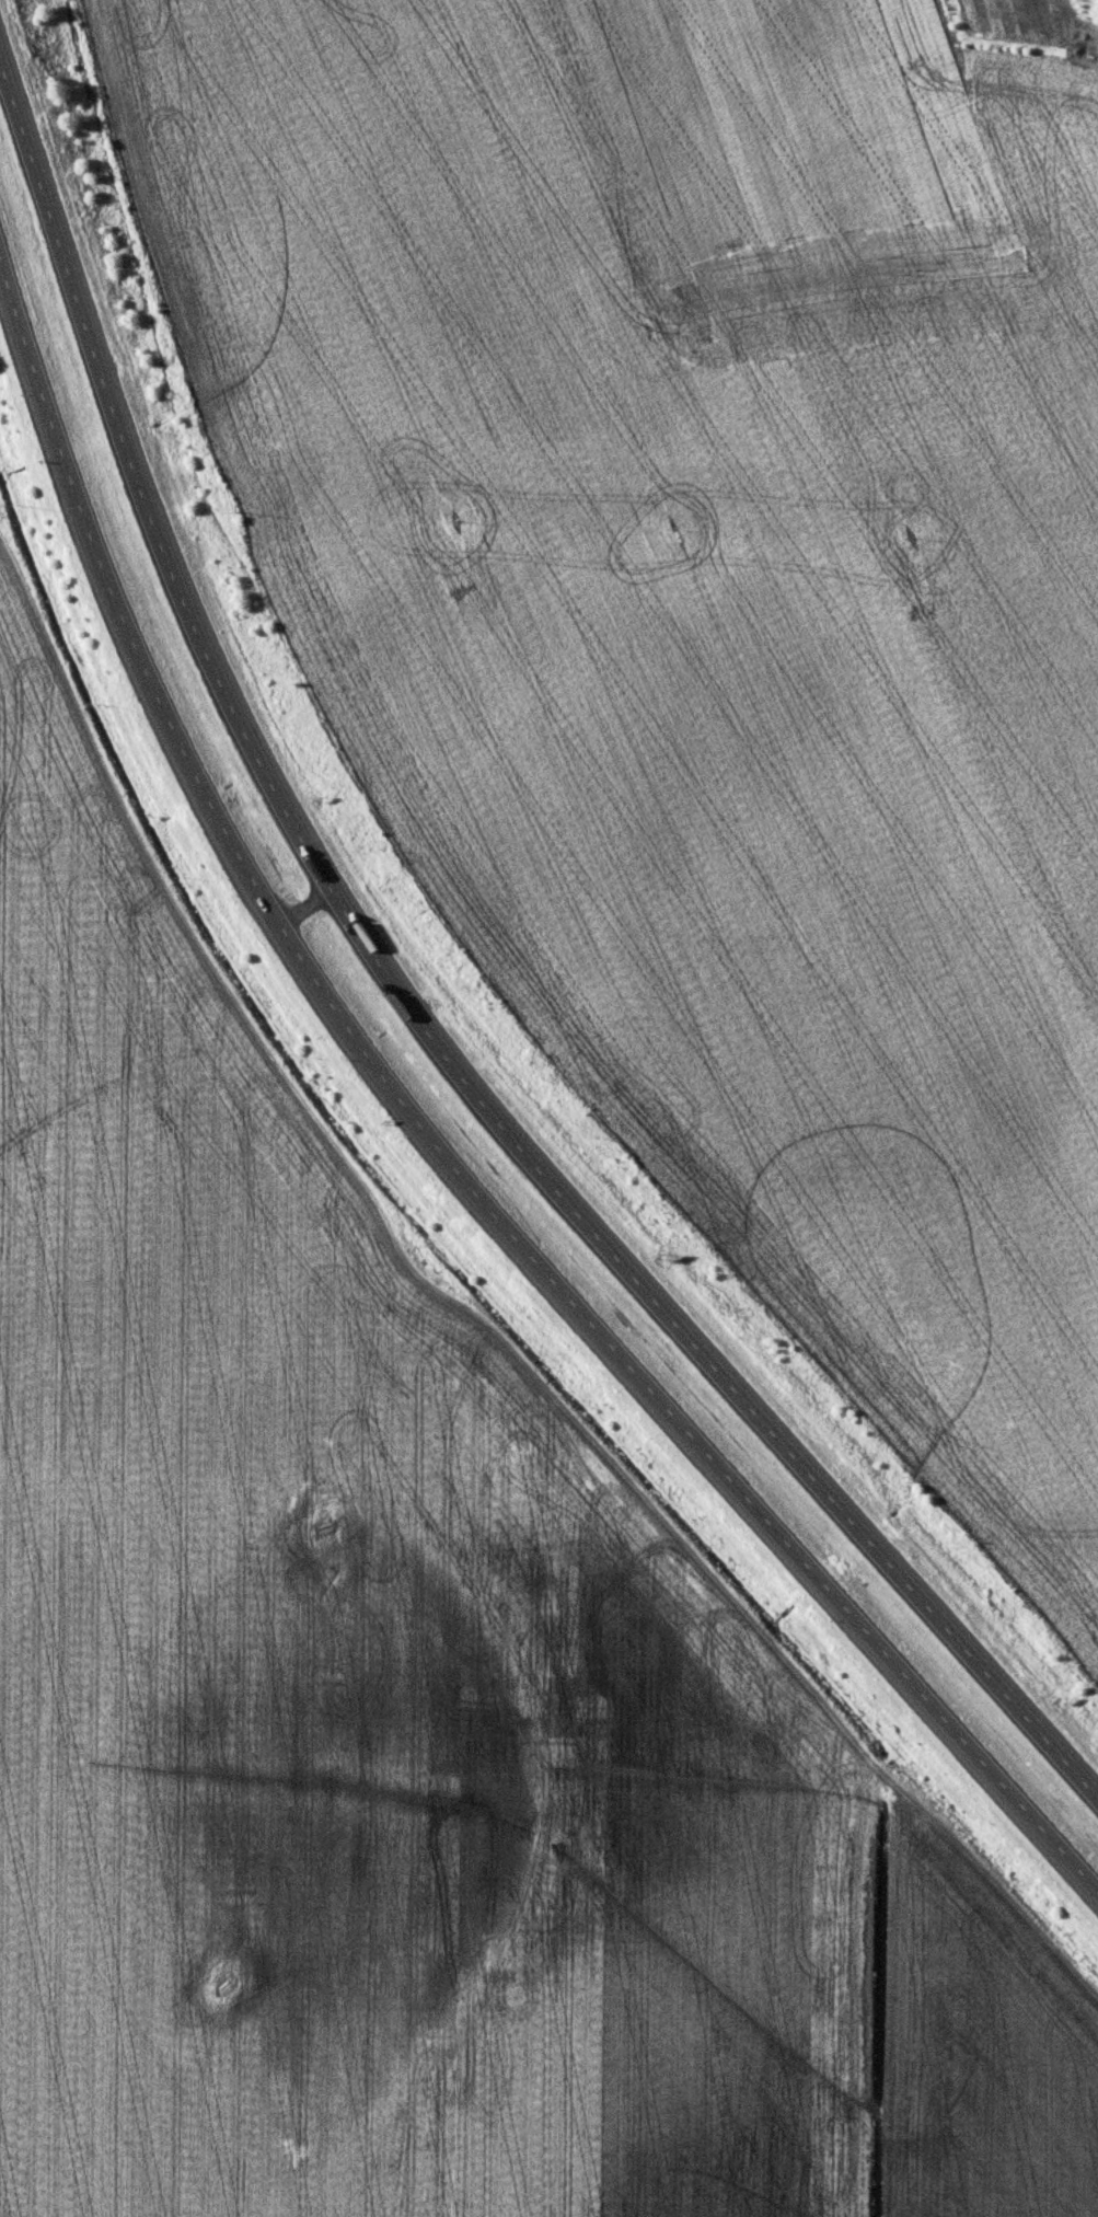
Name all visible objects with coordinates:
road: (415, 1008)
road: (437, 1152)

